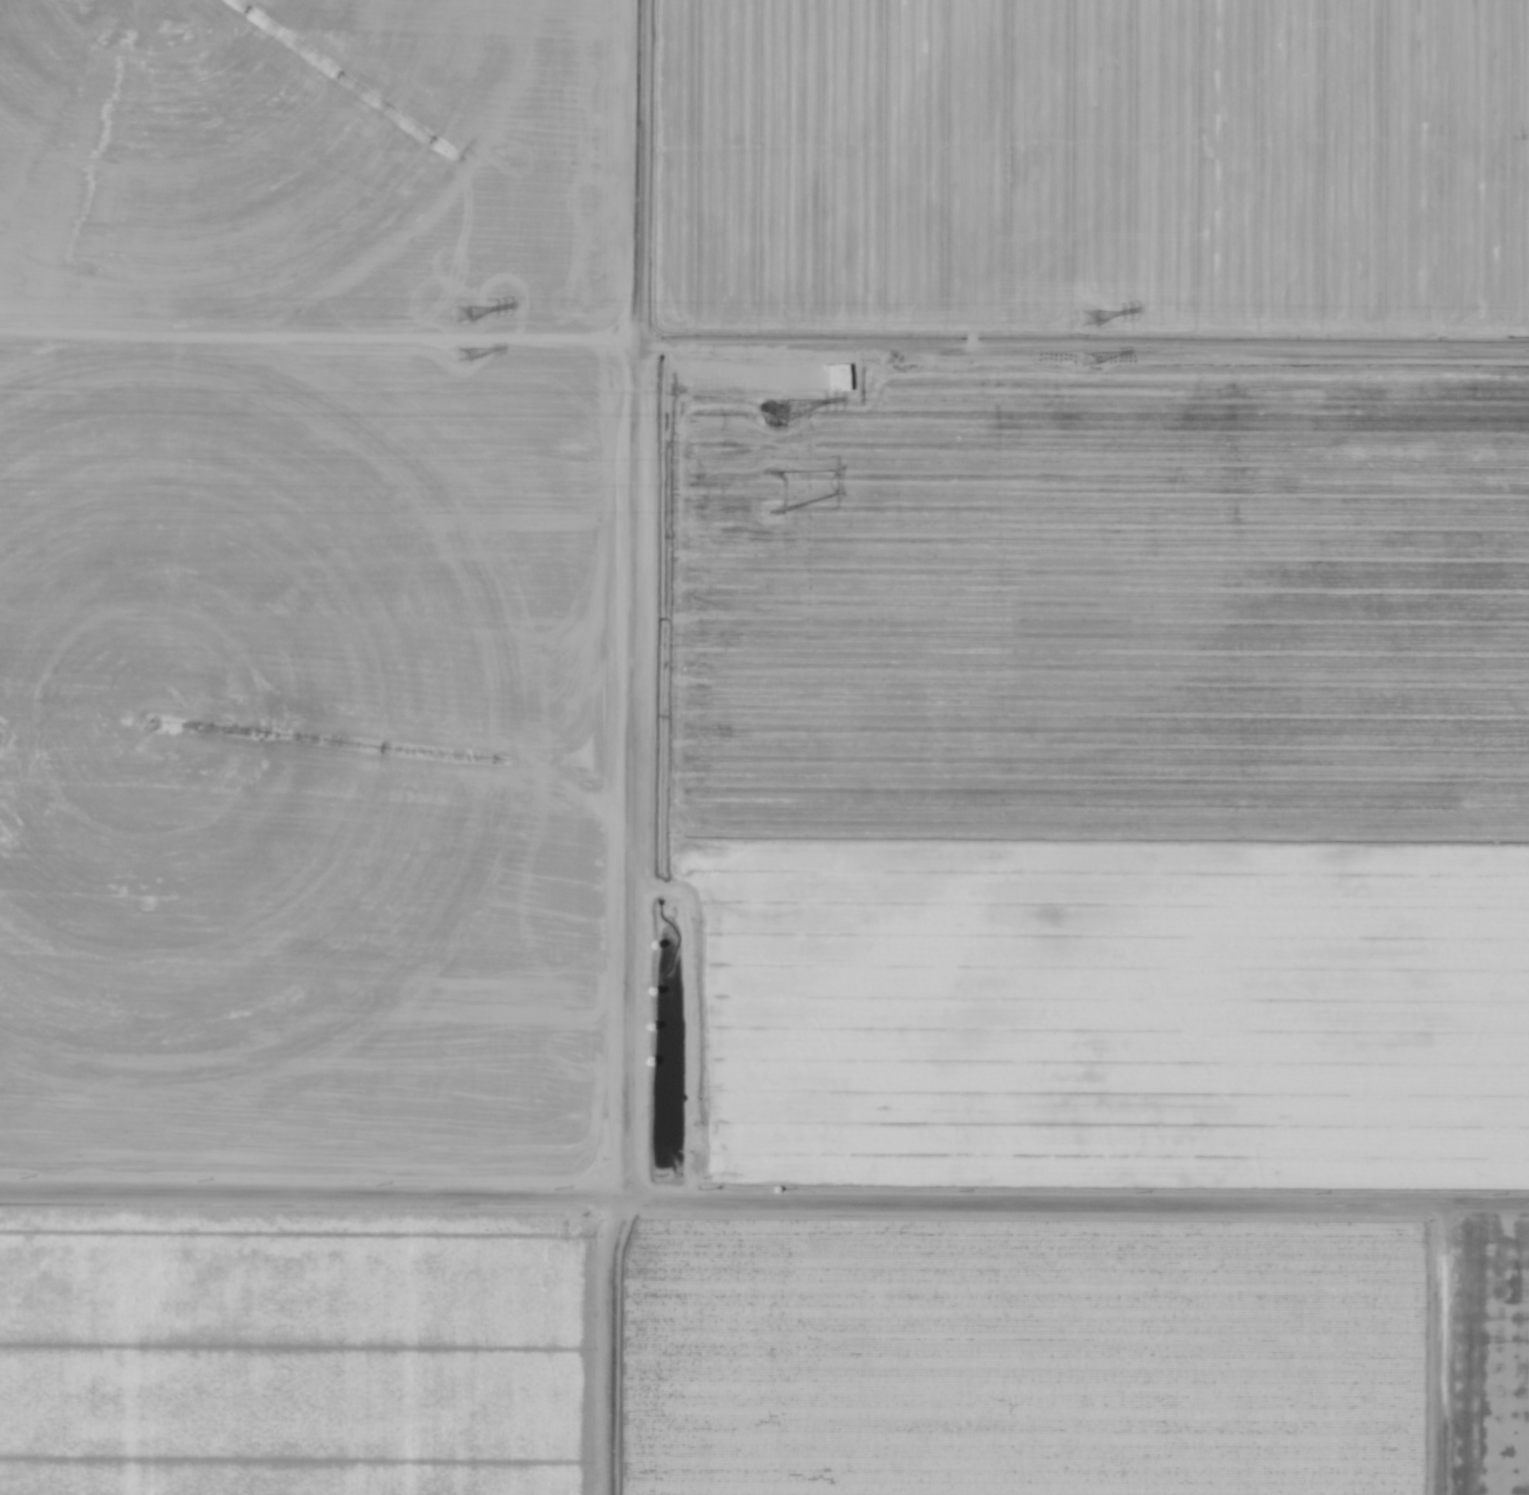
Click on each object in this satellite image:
power tower: (467, 314)
power tower: (1087, 323)
power tower: (470, 355)
power tower: (1090, 364)
power tower: (777, 413)
power tower: (779, 495)
road: (625, 747)
crop: (764, 747)
road: (764, 1193)

